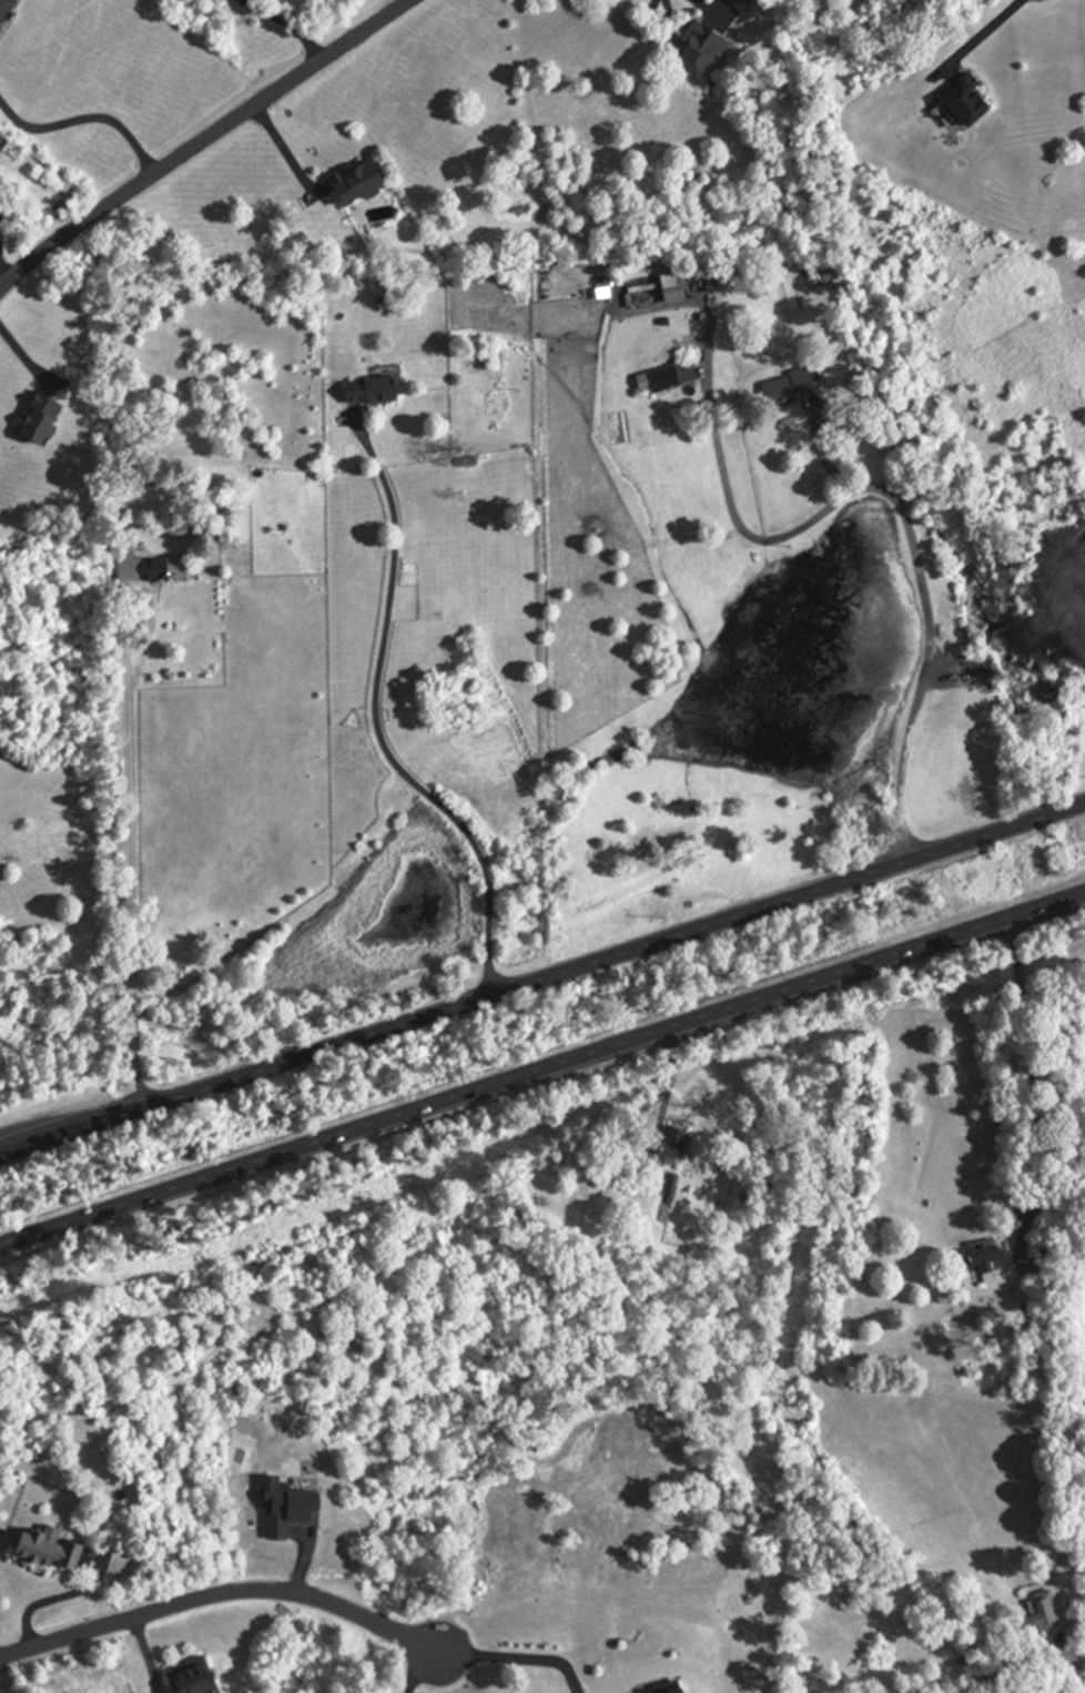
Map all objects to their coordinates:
building: (4, 7)
road: (286, 26)
road: (988, 28)
building: (698, 51)
building: (962, 104)
road: (87, 118)
road: (204, 143)
building: (354, 184)
building: (670, 287)
building: (665, 378)
building: (784, 389)
building: (371, 392)
building: (37, 422)
road: (821, 454)
road: (907, 536)
building: (150, 569)
road: (379, 656)
road: (130, 859)
road: (485, 872)
road: (487, 942)
road: (542, 983)
road: (542, 1071)
road: (667, 1093)
building: (670, 1149)
building: (982, 1258)
road: (1043, 1269)
building: (44, 1552)
road: (219, 1596)
road: (52, 1601)
building: (1041, 1608)
road: (516, 1656)
park: (1056, 1665)
road: (414, 1672)
building: (189, 1676)

